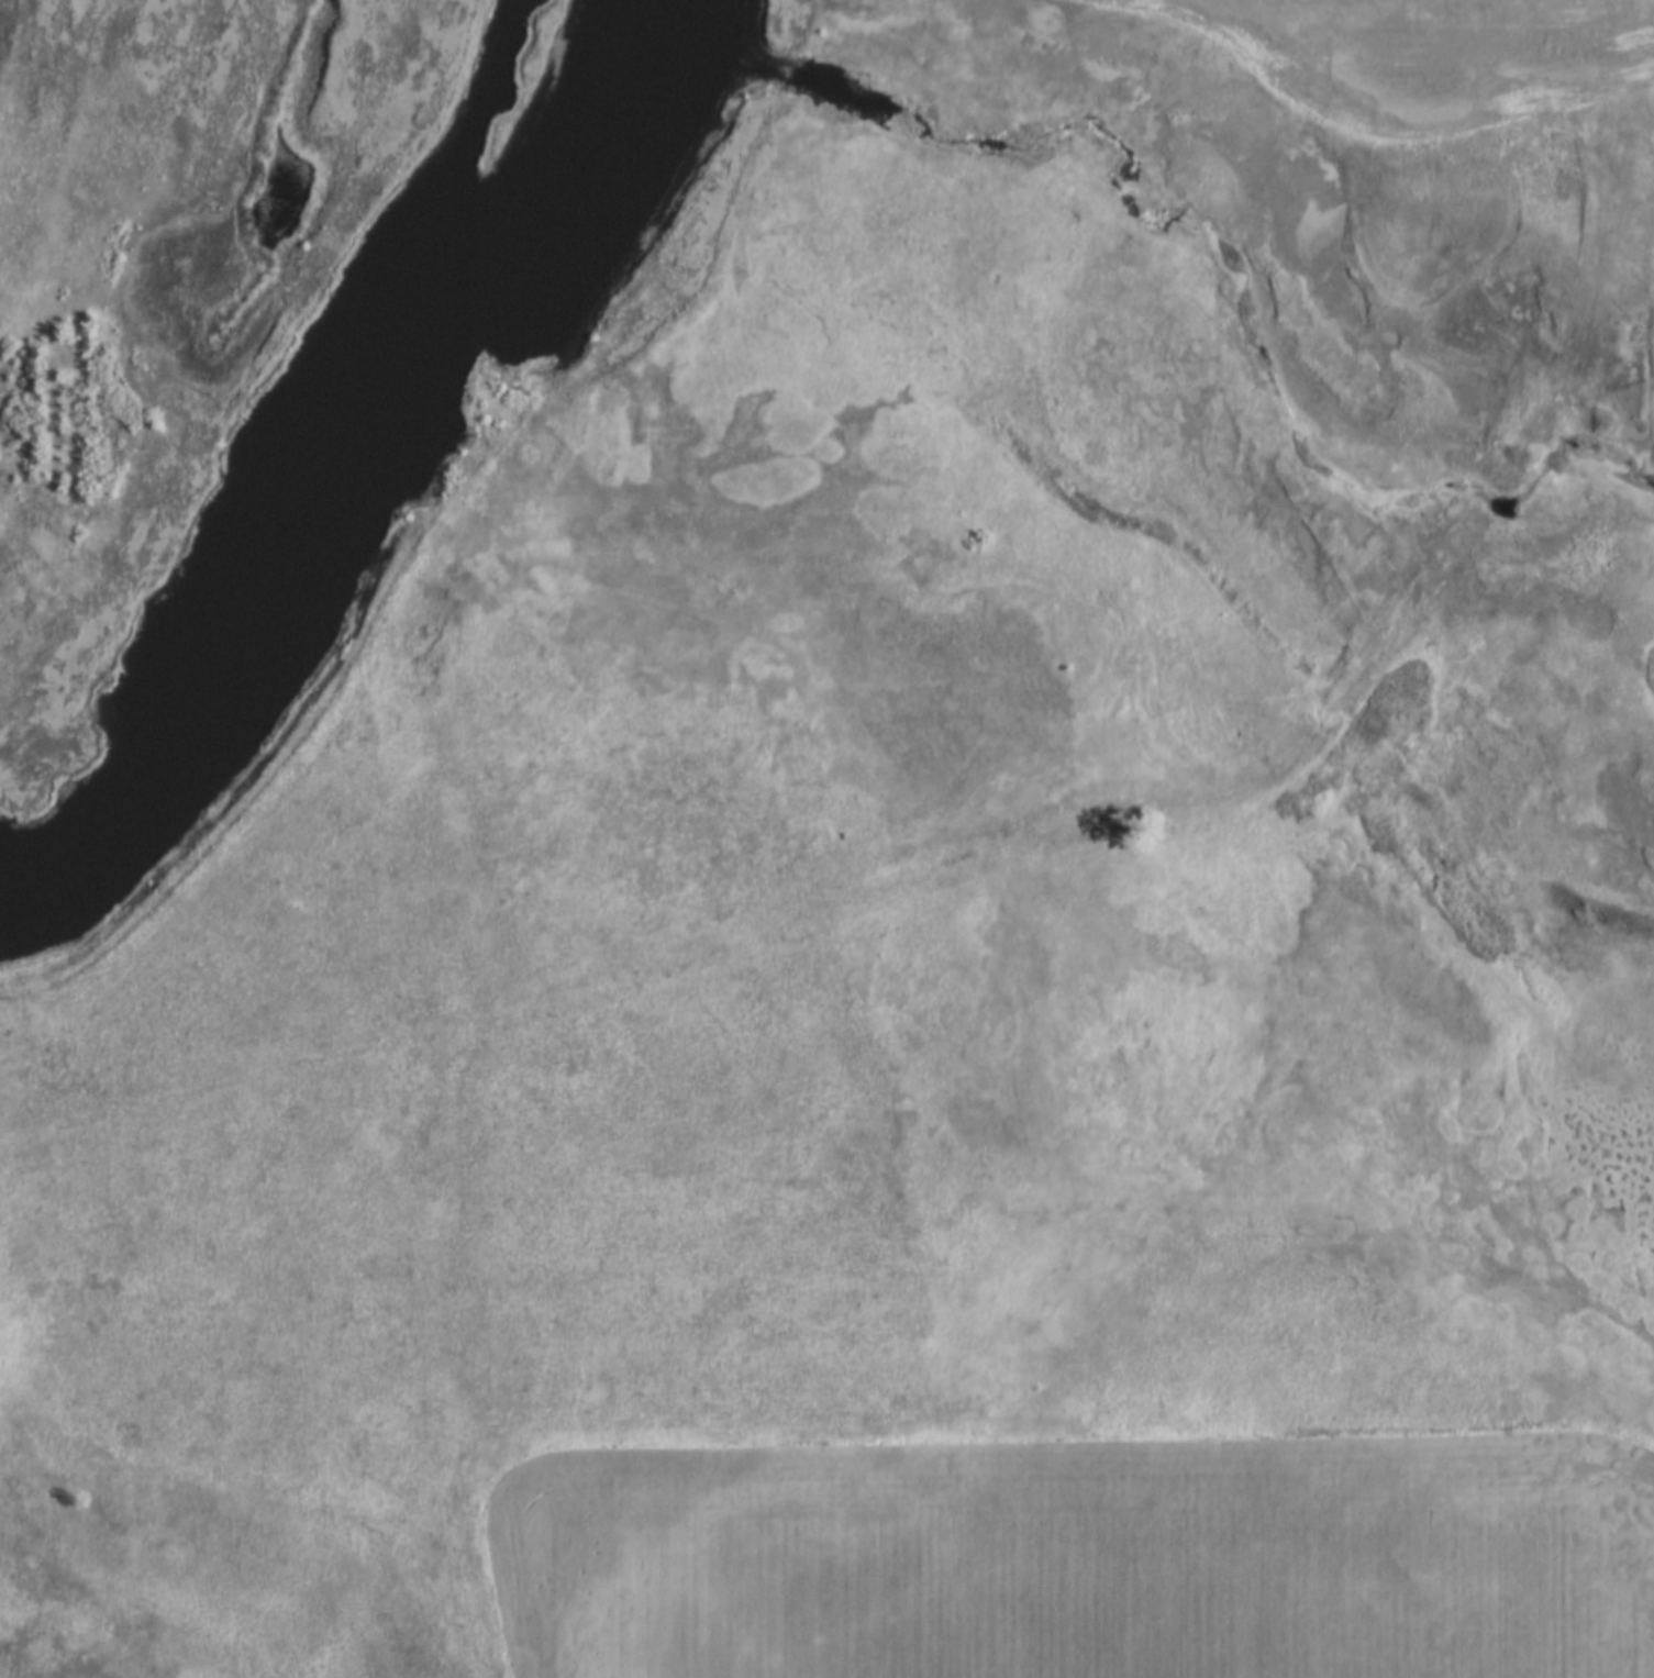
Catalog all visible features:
quarry: (295, 358)

